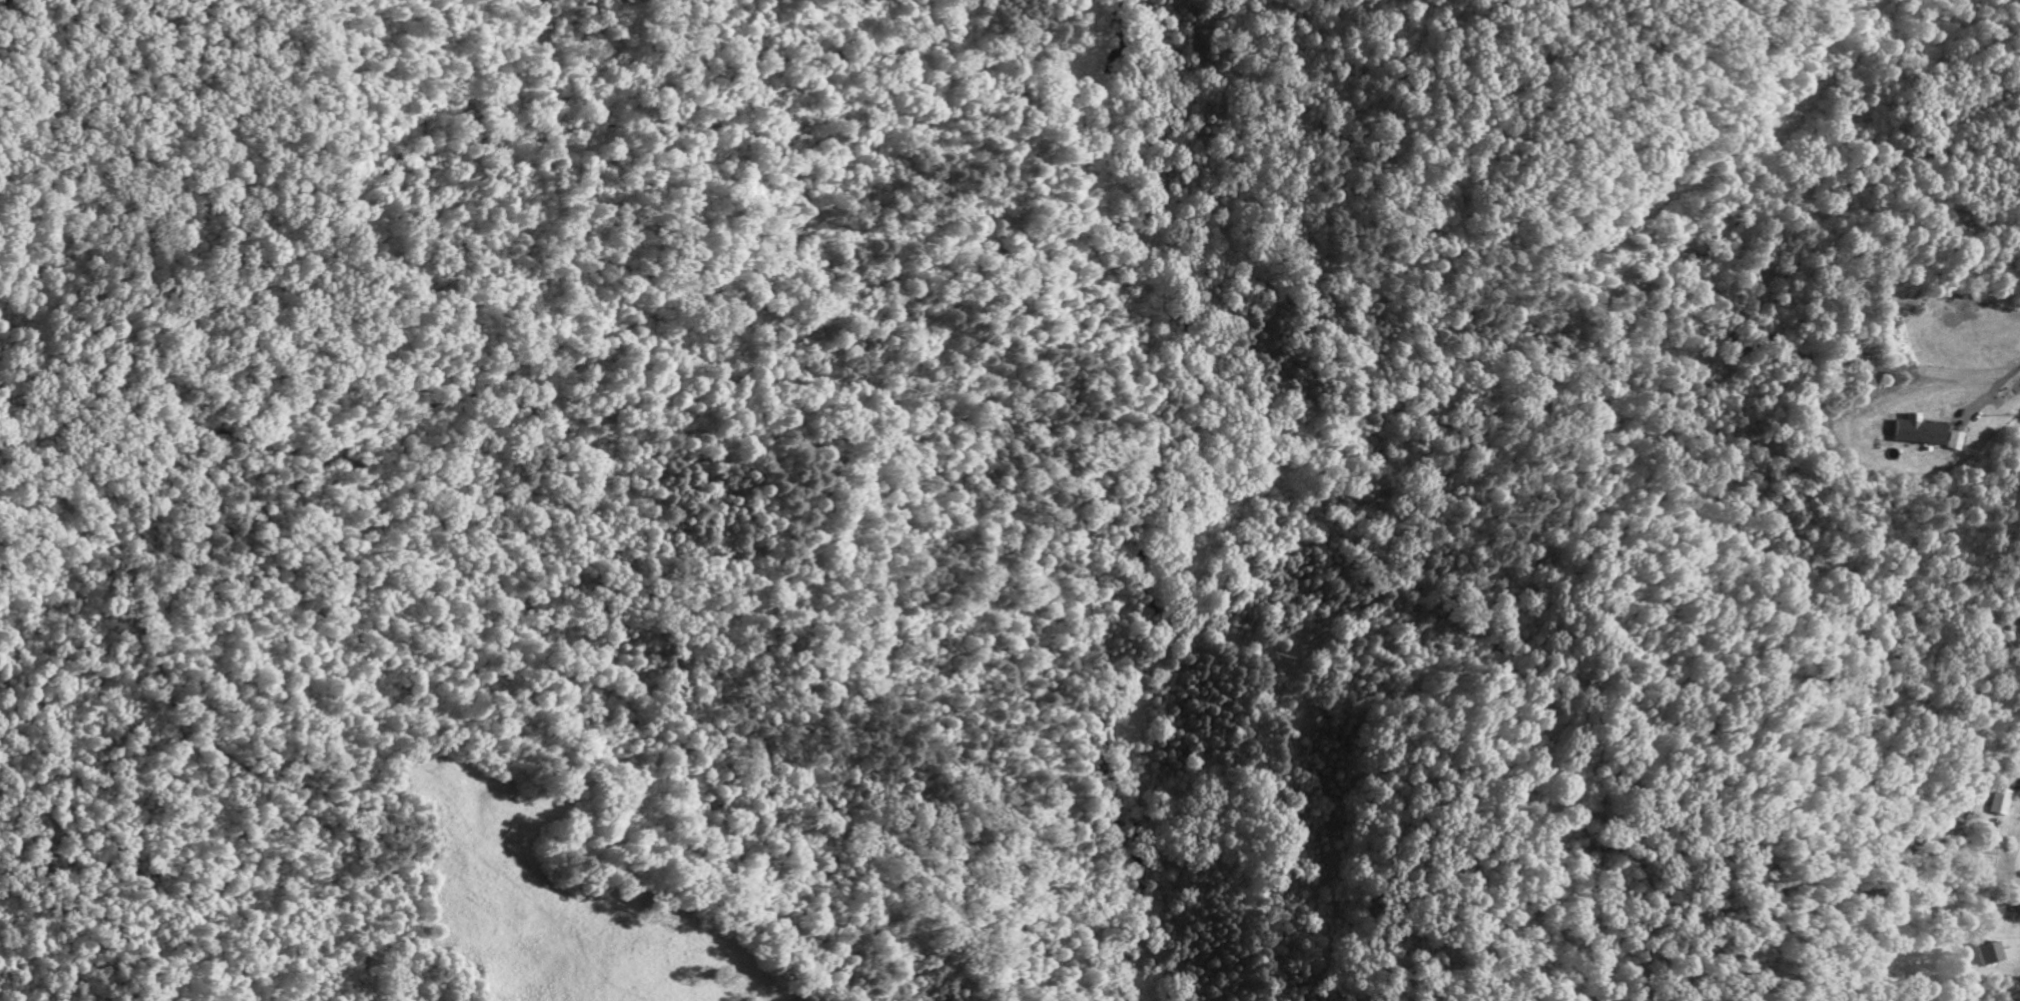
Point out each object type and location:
road: (1988, 391)
building: (1919, 436)
building: (1954, 444)
building: (2000, 804)
building: (1990, 956)

